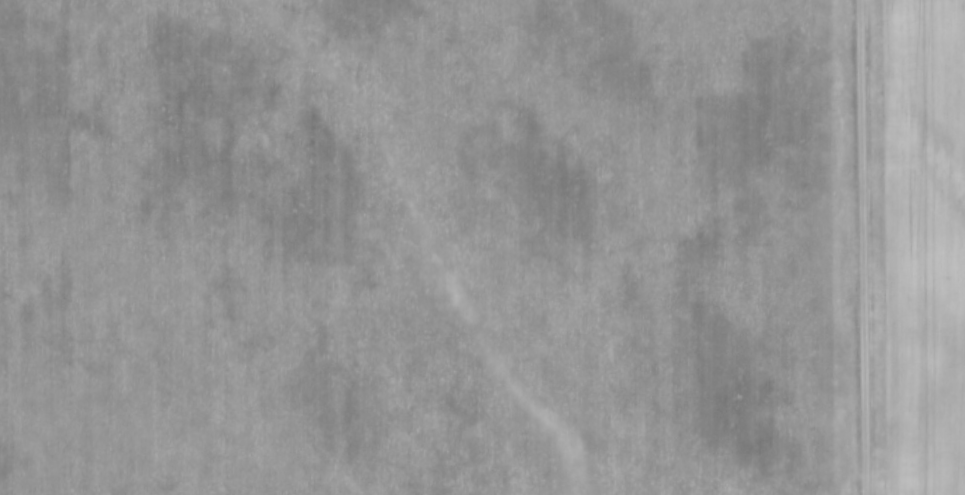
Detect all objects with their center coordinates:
road: (854, 247)

